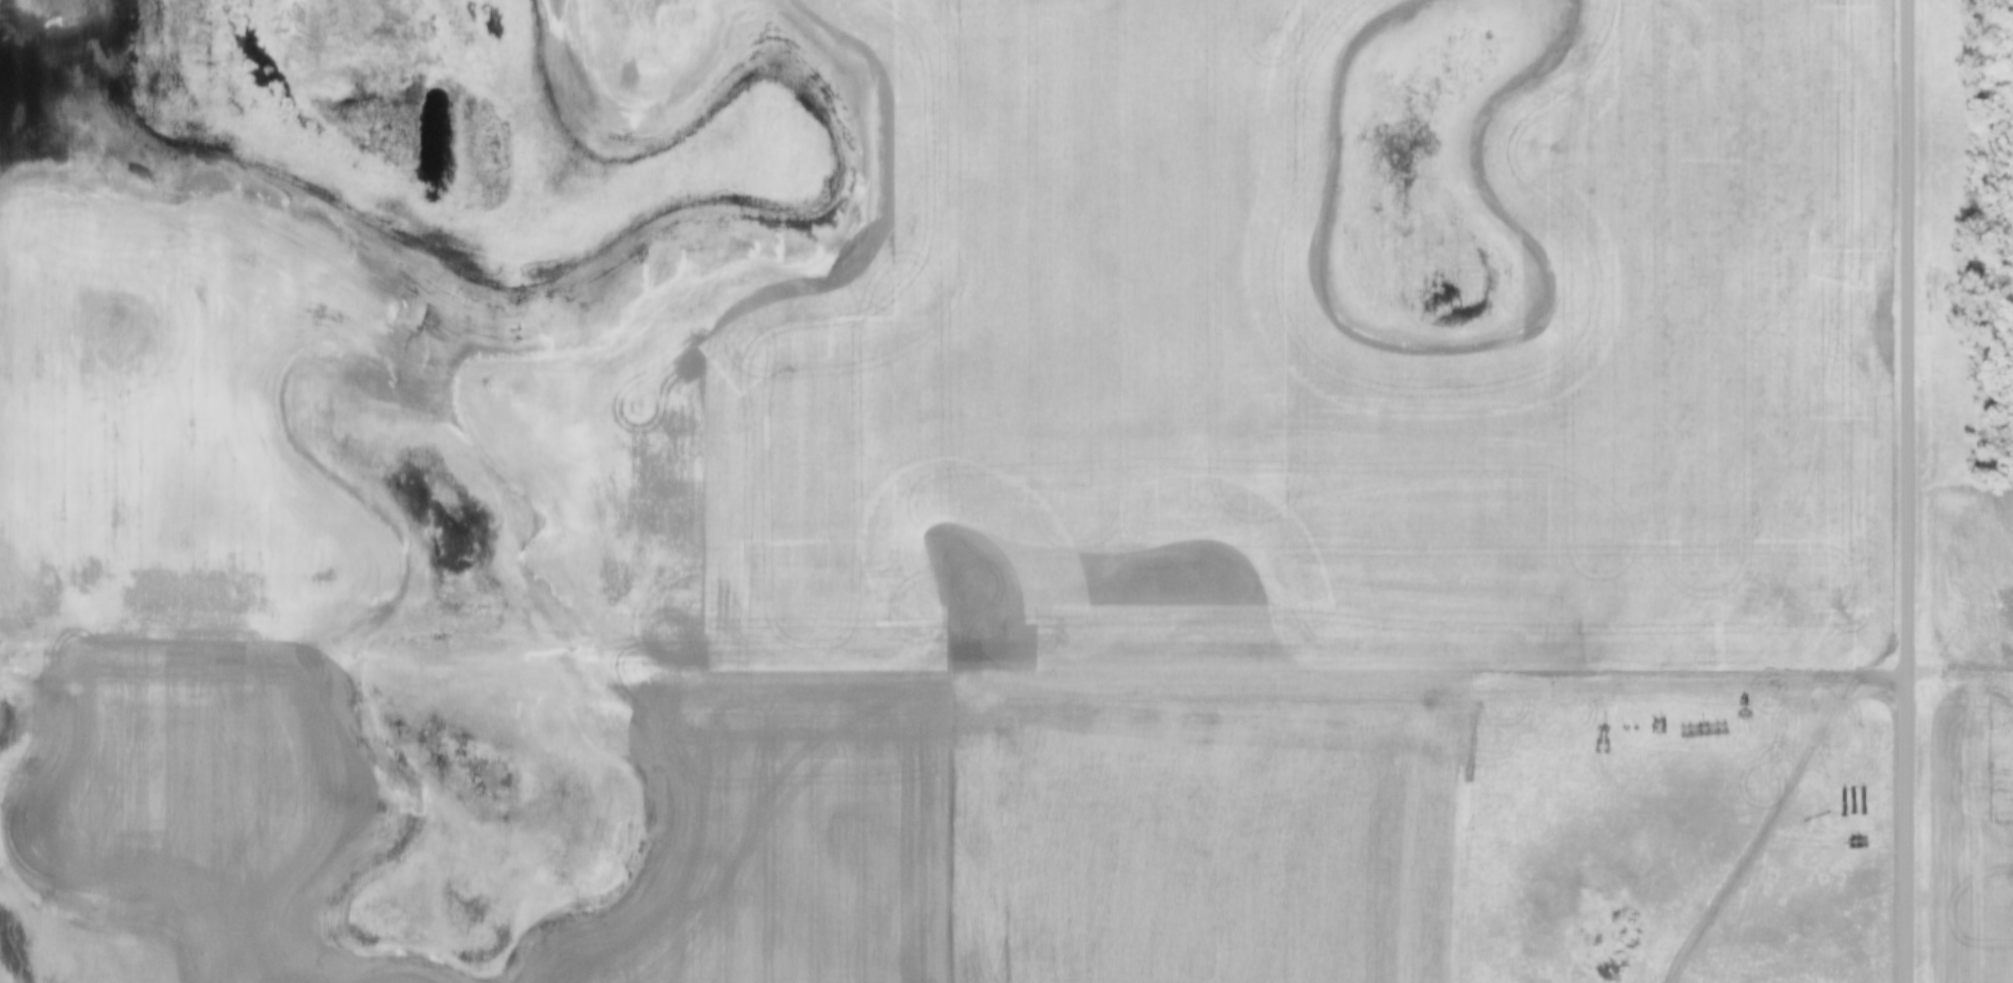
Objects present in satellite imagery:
road: (1912, 491)

